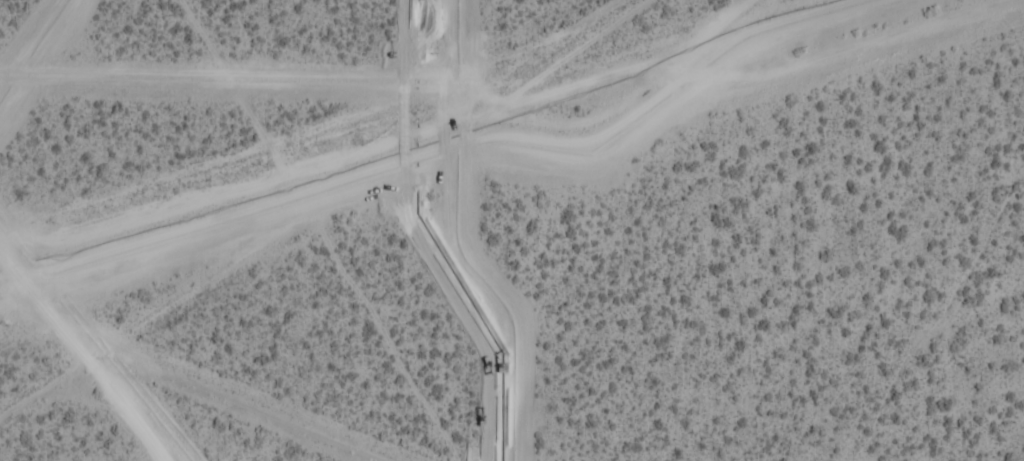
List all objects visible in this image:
road: (87, 353)

